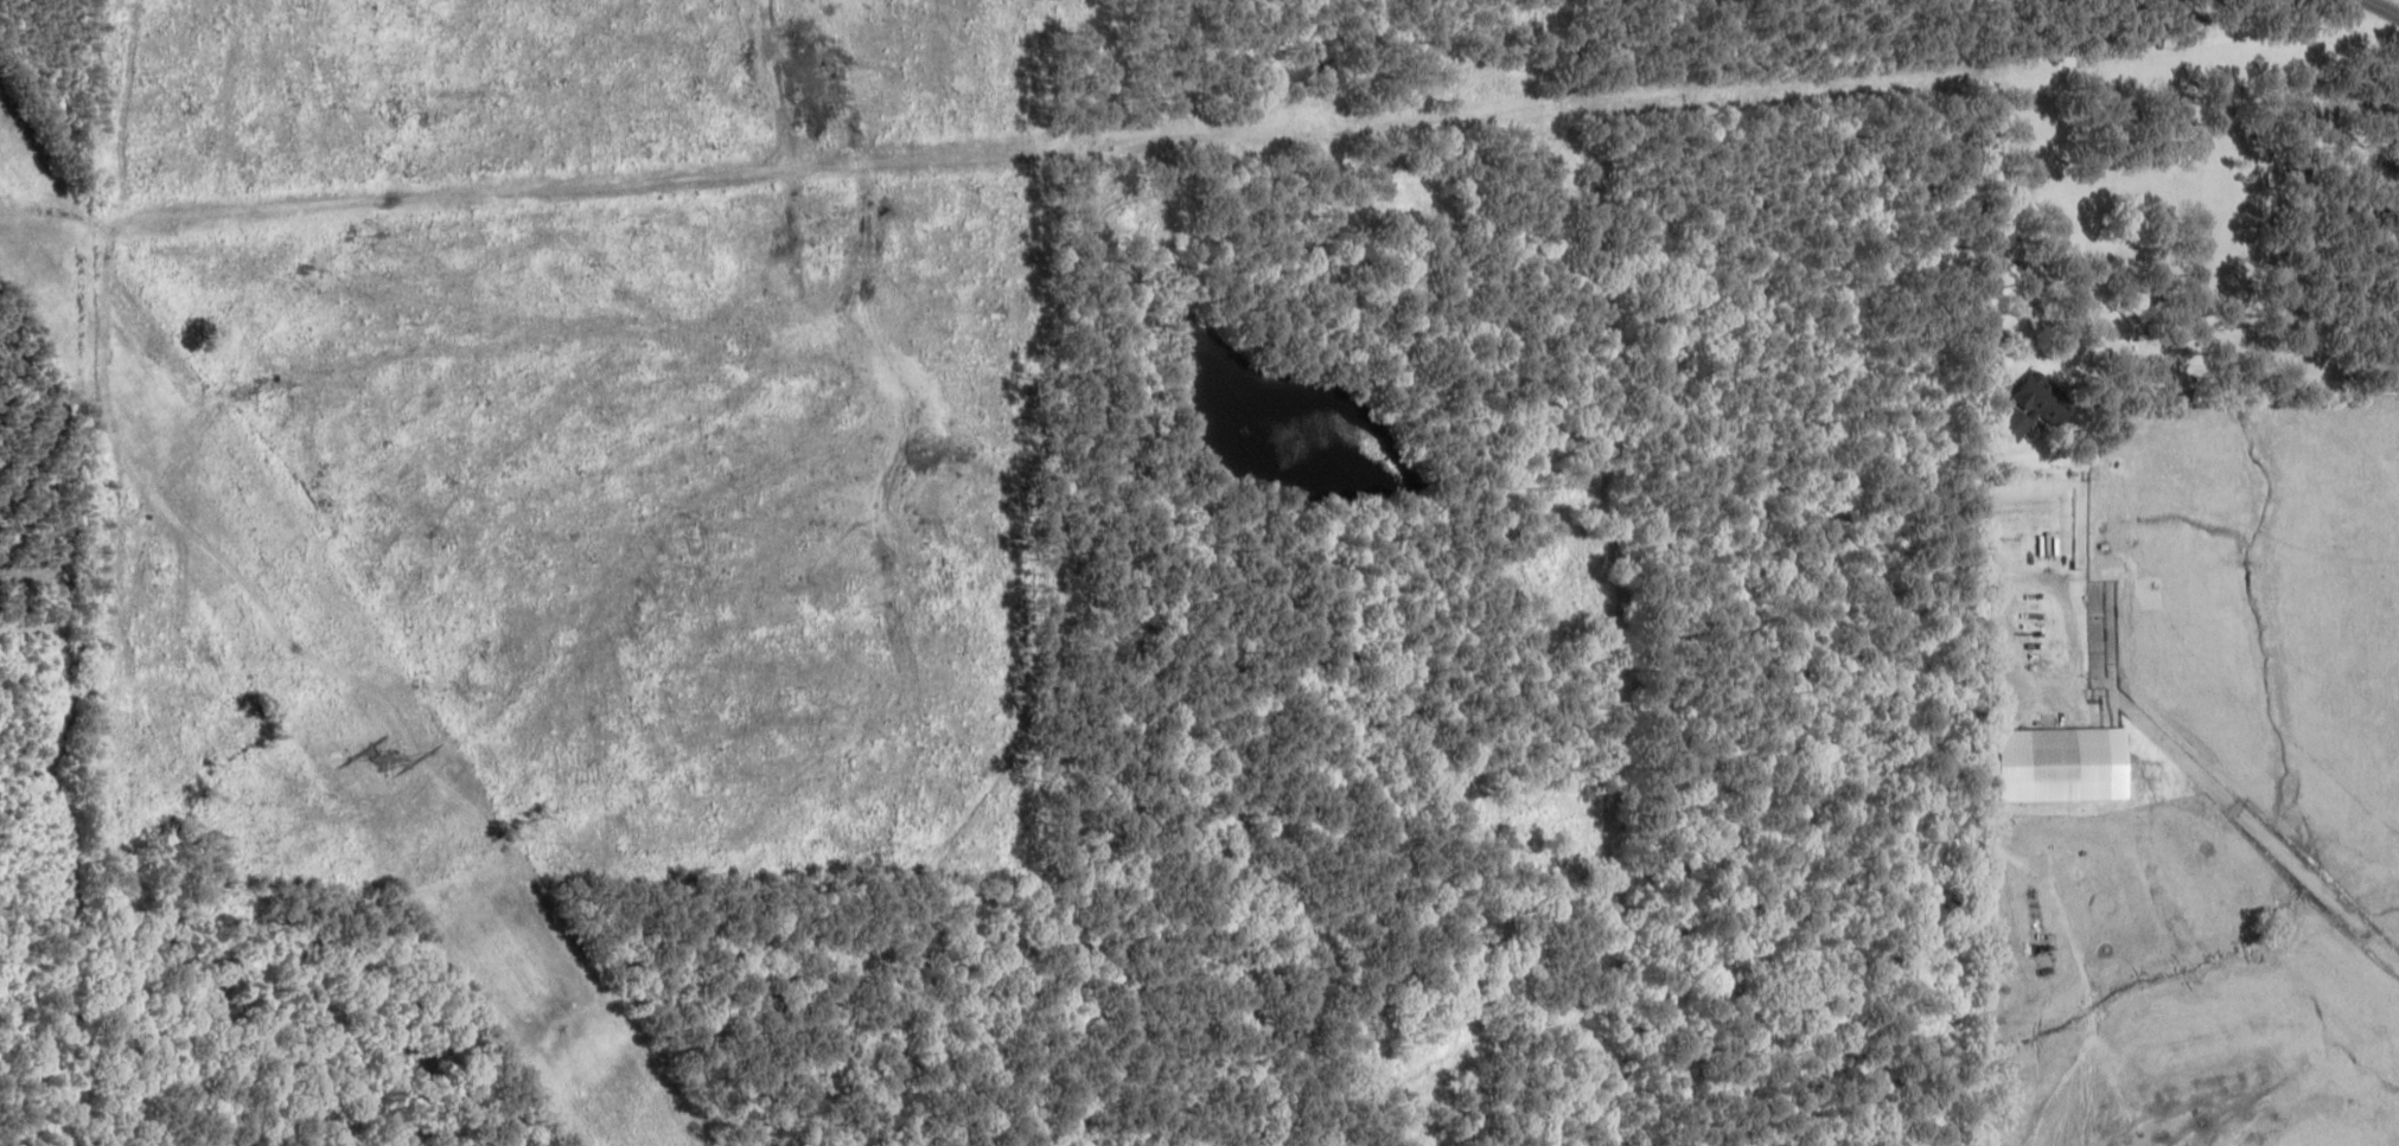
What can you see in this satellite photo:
road: (2327, 25)
road: (480, 68)
road: (1014, 134)
building: (2003, 416)
road: (1202, 442)
power tower: (388, 760)
building: (2054, 764)

